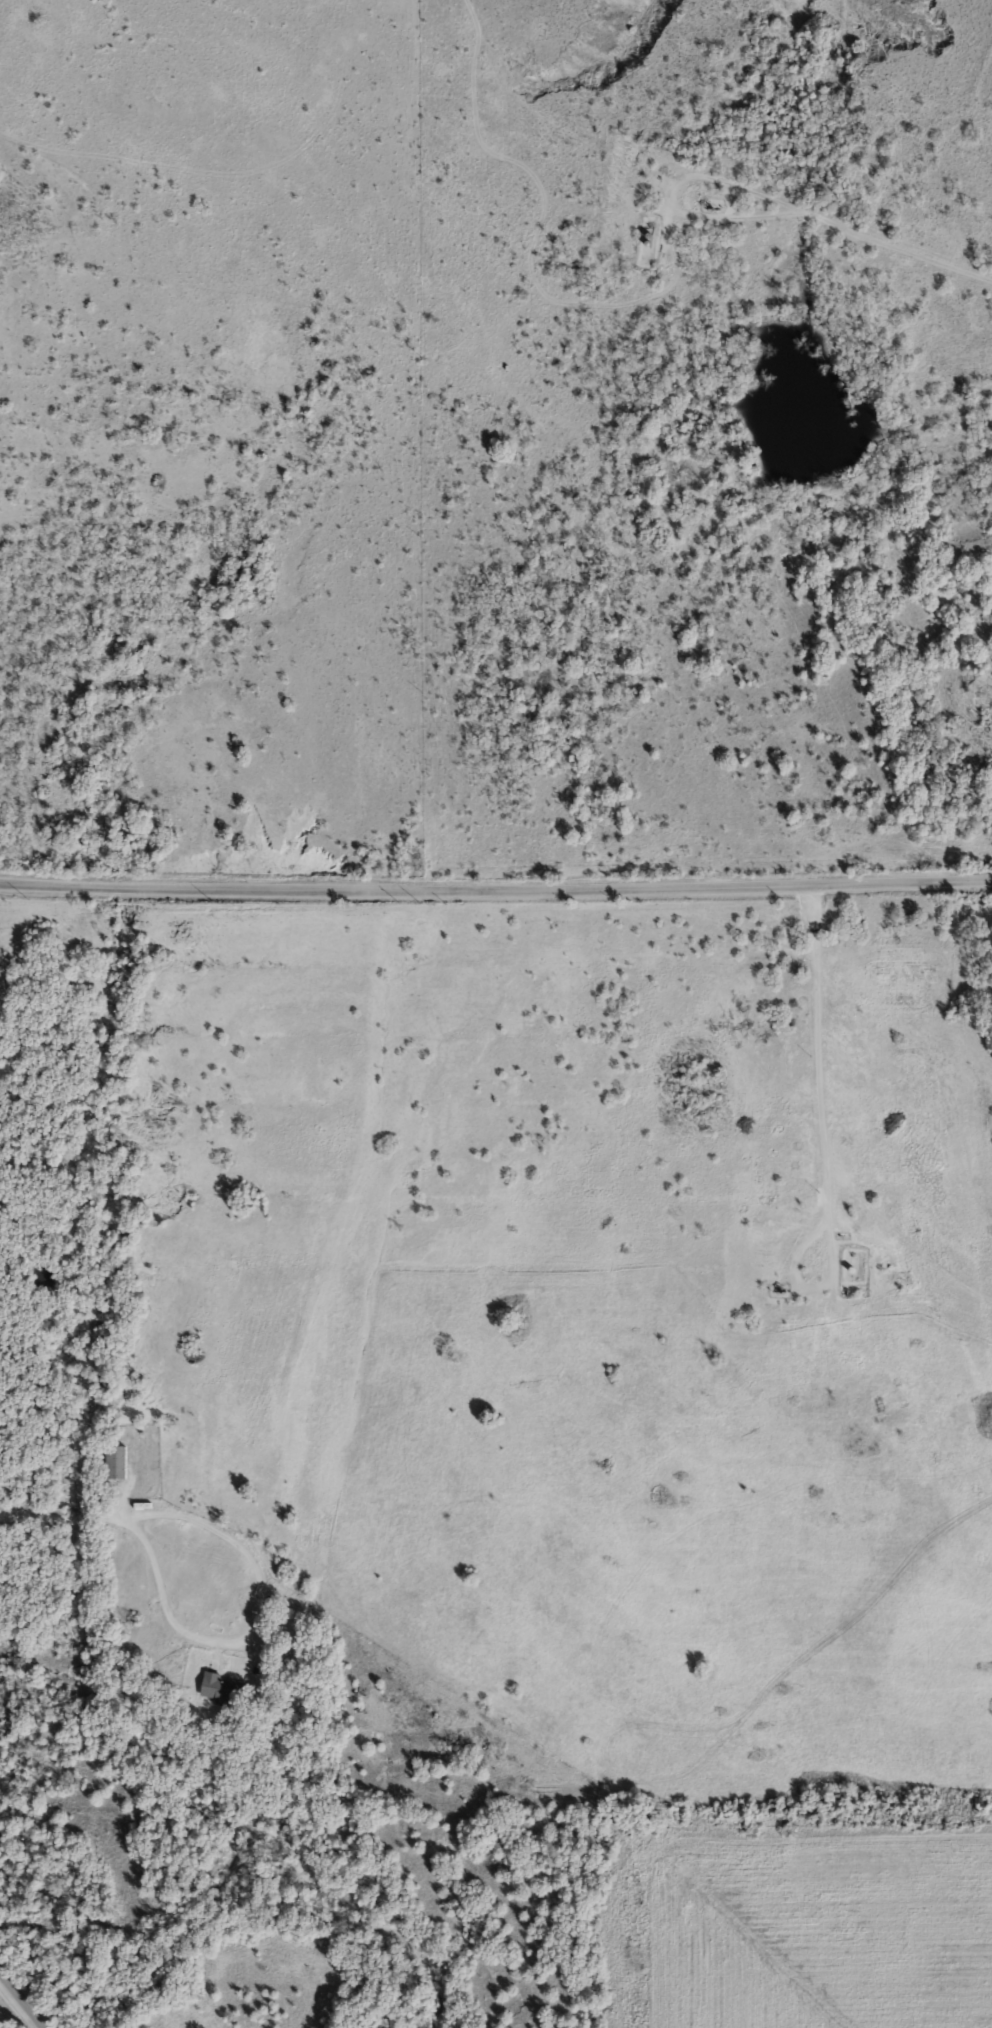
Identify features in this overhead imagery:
road: (673, 194)
road: (898, 243)
road: (496, 883)
road: (824, 1139)
building: (114, 1462)
road: (144, 1530)
building: (222, 1690)
road: (23, 1998)

